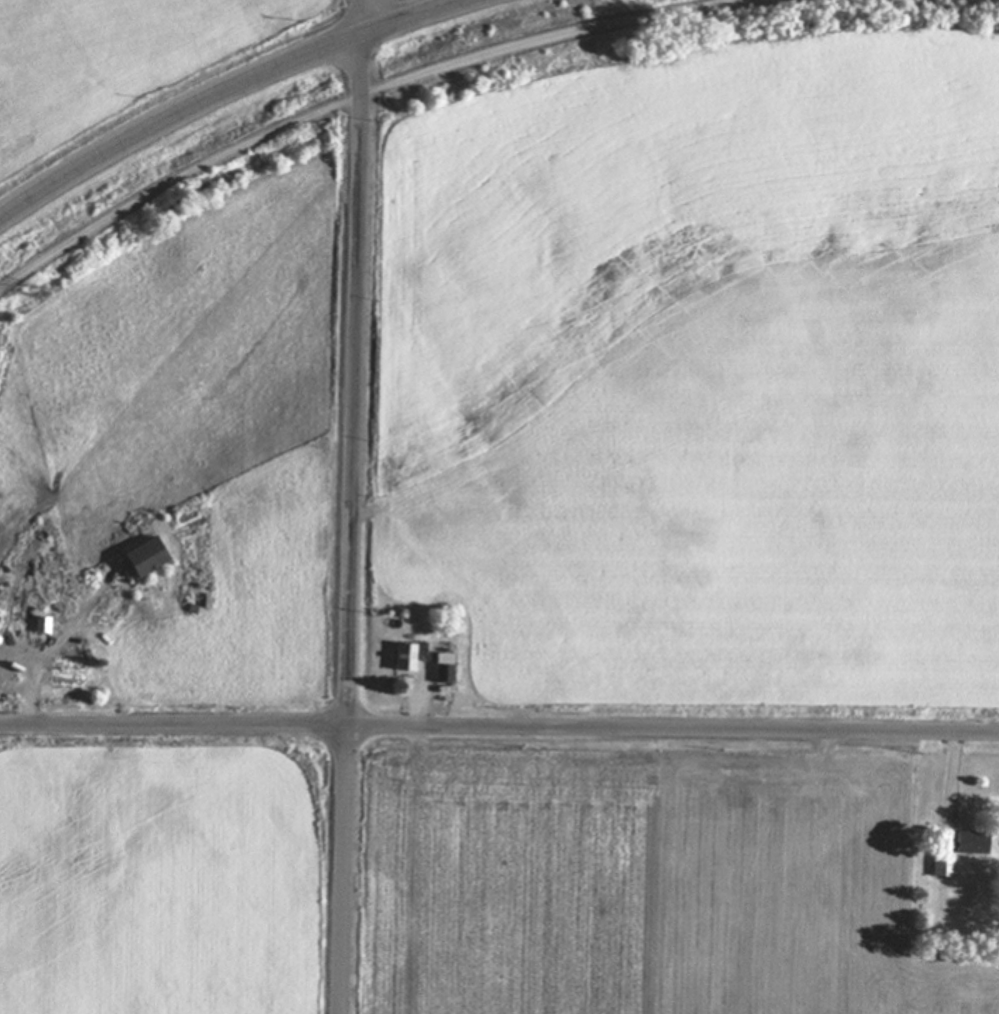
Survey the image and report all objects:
road: (227, 91)
road: (365, 96)
road: (354, 506)
building: (151, 557)
building: (414, 656)
building: (441, 667)
road: (31, 692)
road: (420, 703)
road: (499, 727)
road: (955, 785)
building: (968, 844)
building: (941, 866)

